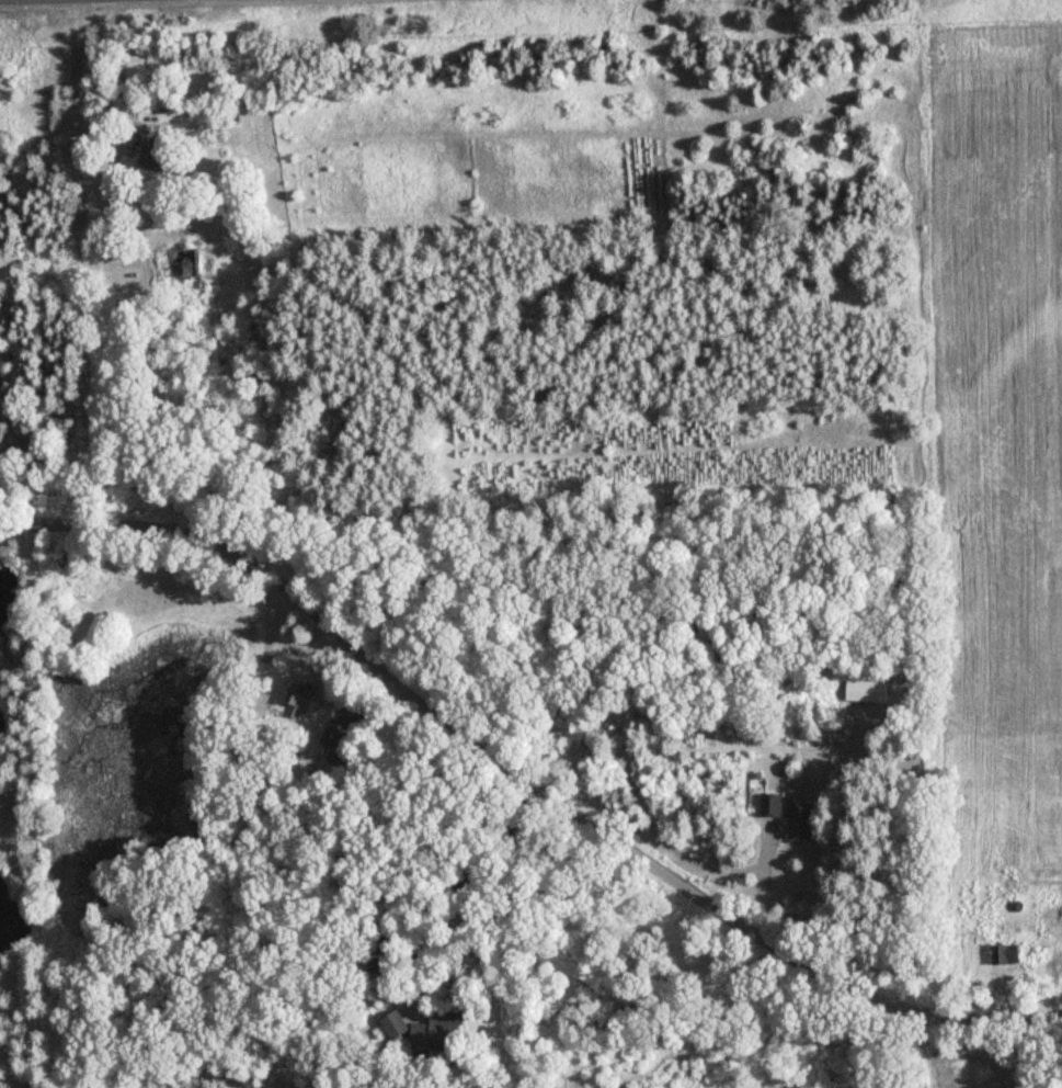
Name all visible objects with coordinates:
building: (149, 156)
building: (183, 268)
crop: (1001, 373)
road: (13, 532)
building: (860, 685)
building: (299, 694)
building: (329, 737)
road: (523, 779)
building: (768, 803)
building: (797, 820)
road: (449, 882)
building: (391, 1025)
building: (437, 1029)
building: (416, 1033)
crop: (981, 1083)

